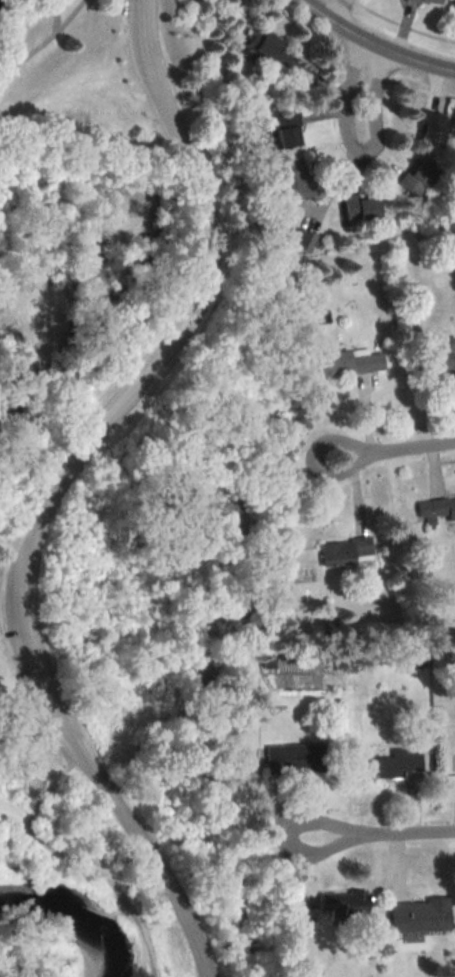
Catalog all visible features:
building: (424, 3)
building: (452, 8)
road: (338, 10)
road: (67, 16)
road: (400, 27)
road: (39, 42)
road: (373, 44)
road: (352, 64)
building: (284, 130)
building: (427, 137)
road: (355, 150)
building: (414, 178)
building: (289, 180)
building: (357, 207)
building: (300, 242)
building: (441, 357)
building: (347, 362)
road: (395, 448)
park: (117, 469)
road: (58, 487)
building: (436, 510)
building: (344, 551)
road: (10, 552)
building: (422, 628)
parking lot: (38, 666)
building: (293, 759)
building: (391, 764)
road: (48, 790)
road: (380, 833)
road: (100, 870)
building: (340, 903)
river: (69, 911)
building: (417, 915)

